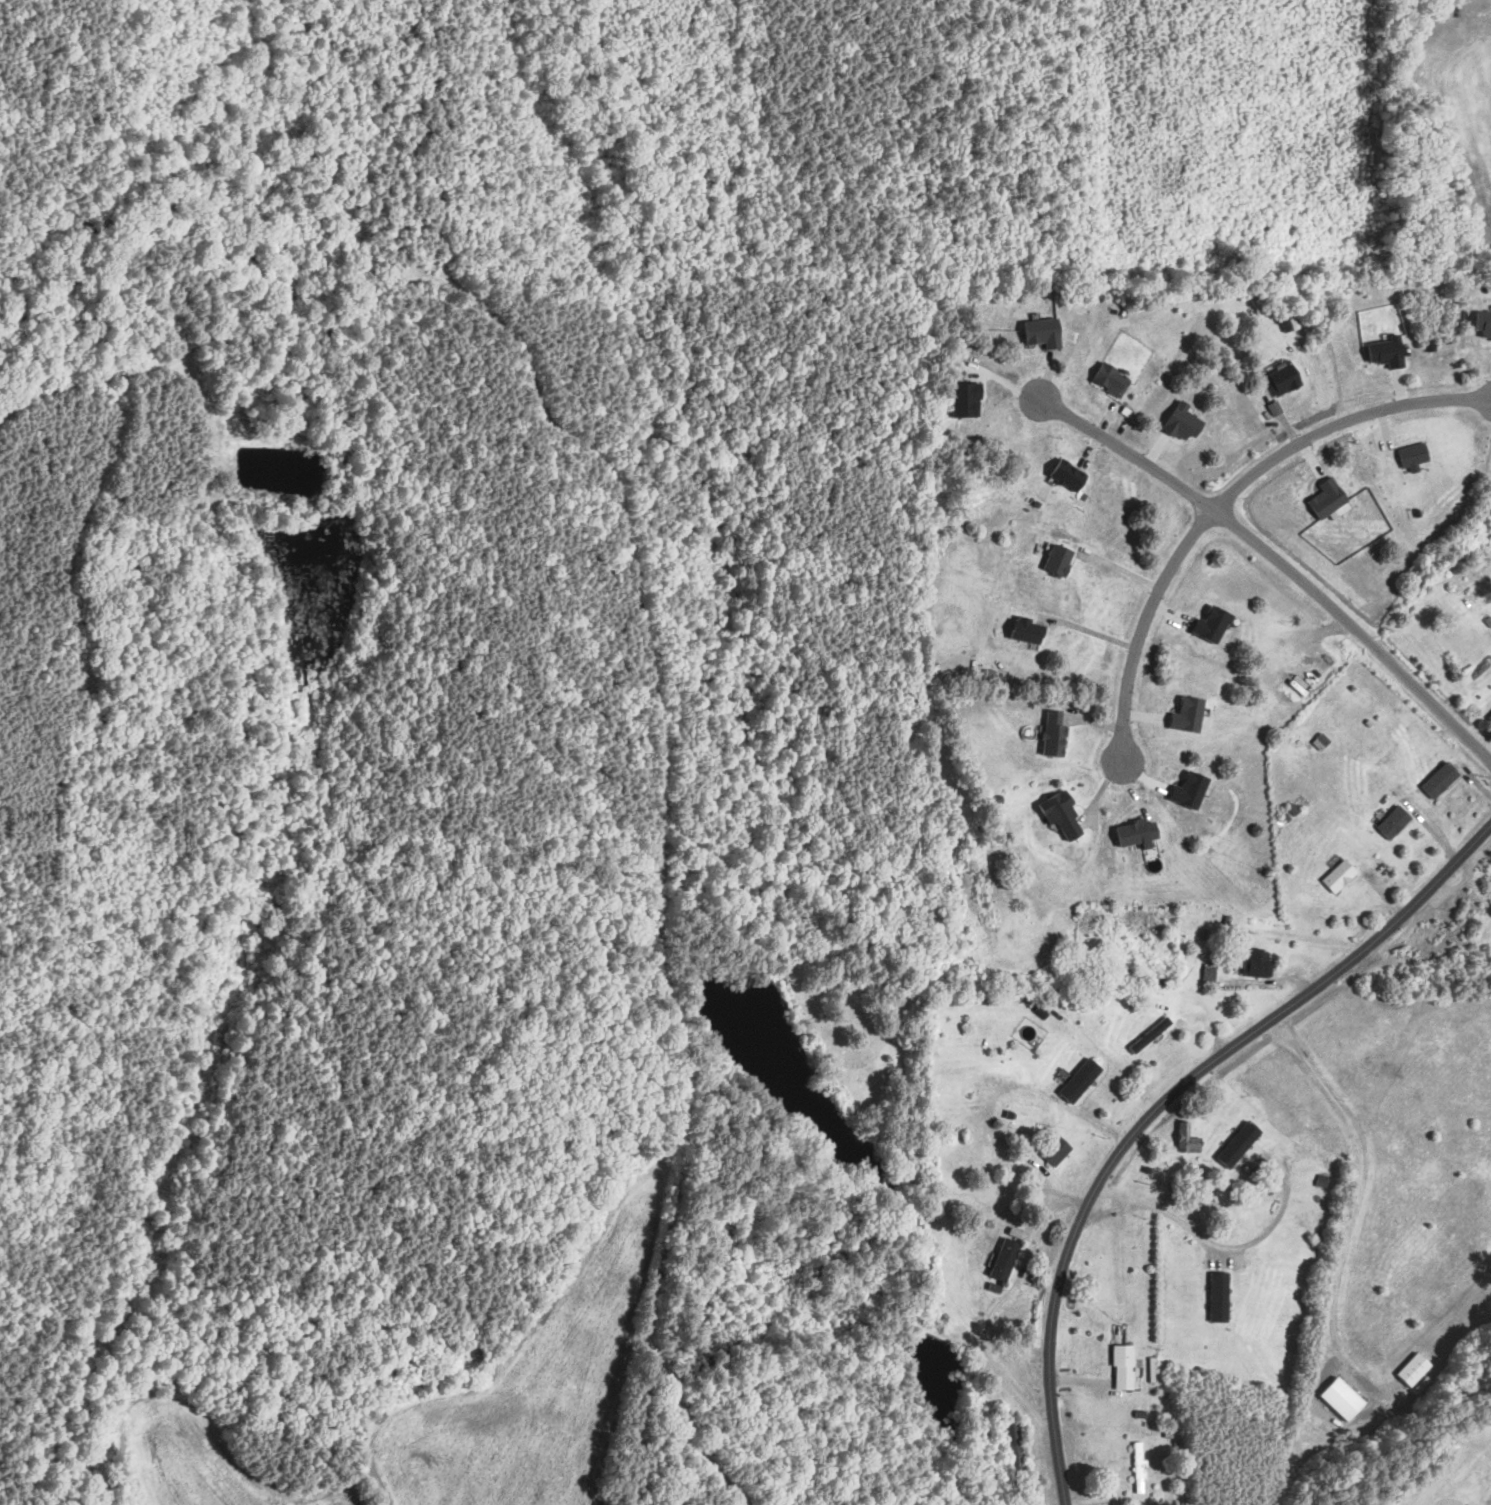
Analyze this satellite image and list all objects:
building: (1484, 323)
building: (1389, 352)
building: (1112, 379)
building: (1286, 380)
building: (1416, 456)
building: (1070, 475)
road: (1224, 496)
building: (1061, 558)
road: (1277, 563)
building: (1216, 623)
building: (1028, 629)
road: (1091, 631)
building: (1191, 713)
building: (1490, 716)
building: (1056, 732)
building: (1441, 779)
building: (1193, 789)
building: (1396, 821)
building: (1138, 833)
road: (661, 872)
building: (1340, 875)
building: (1259, 962)
building: (1082, 1079)
road: (990, 1102)
road: (1161, 1104)
building: (1240, 1143)
building: (1059, 1150)
road: (1352, 1204)
road: (1170, 1216)
road: (1277, 1217)
building: (1006, 1258)
building: (1221, 1296)
road: (990, 1313)
building: (1125, 1367)
building: (1416, 1369)
road: (619, 1374)
road: (669, 1383)
building: (1345, 1398)
building: (1140, 1468)

